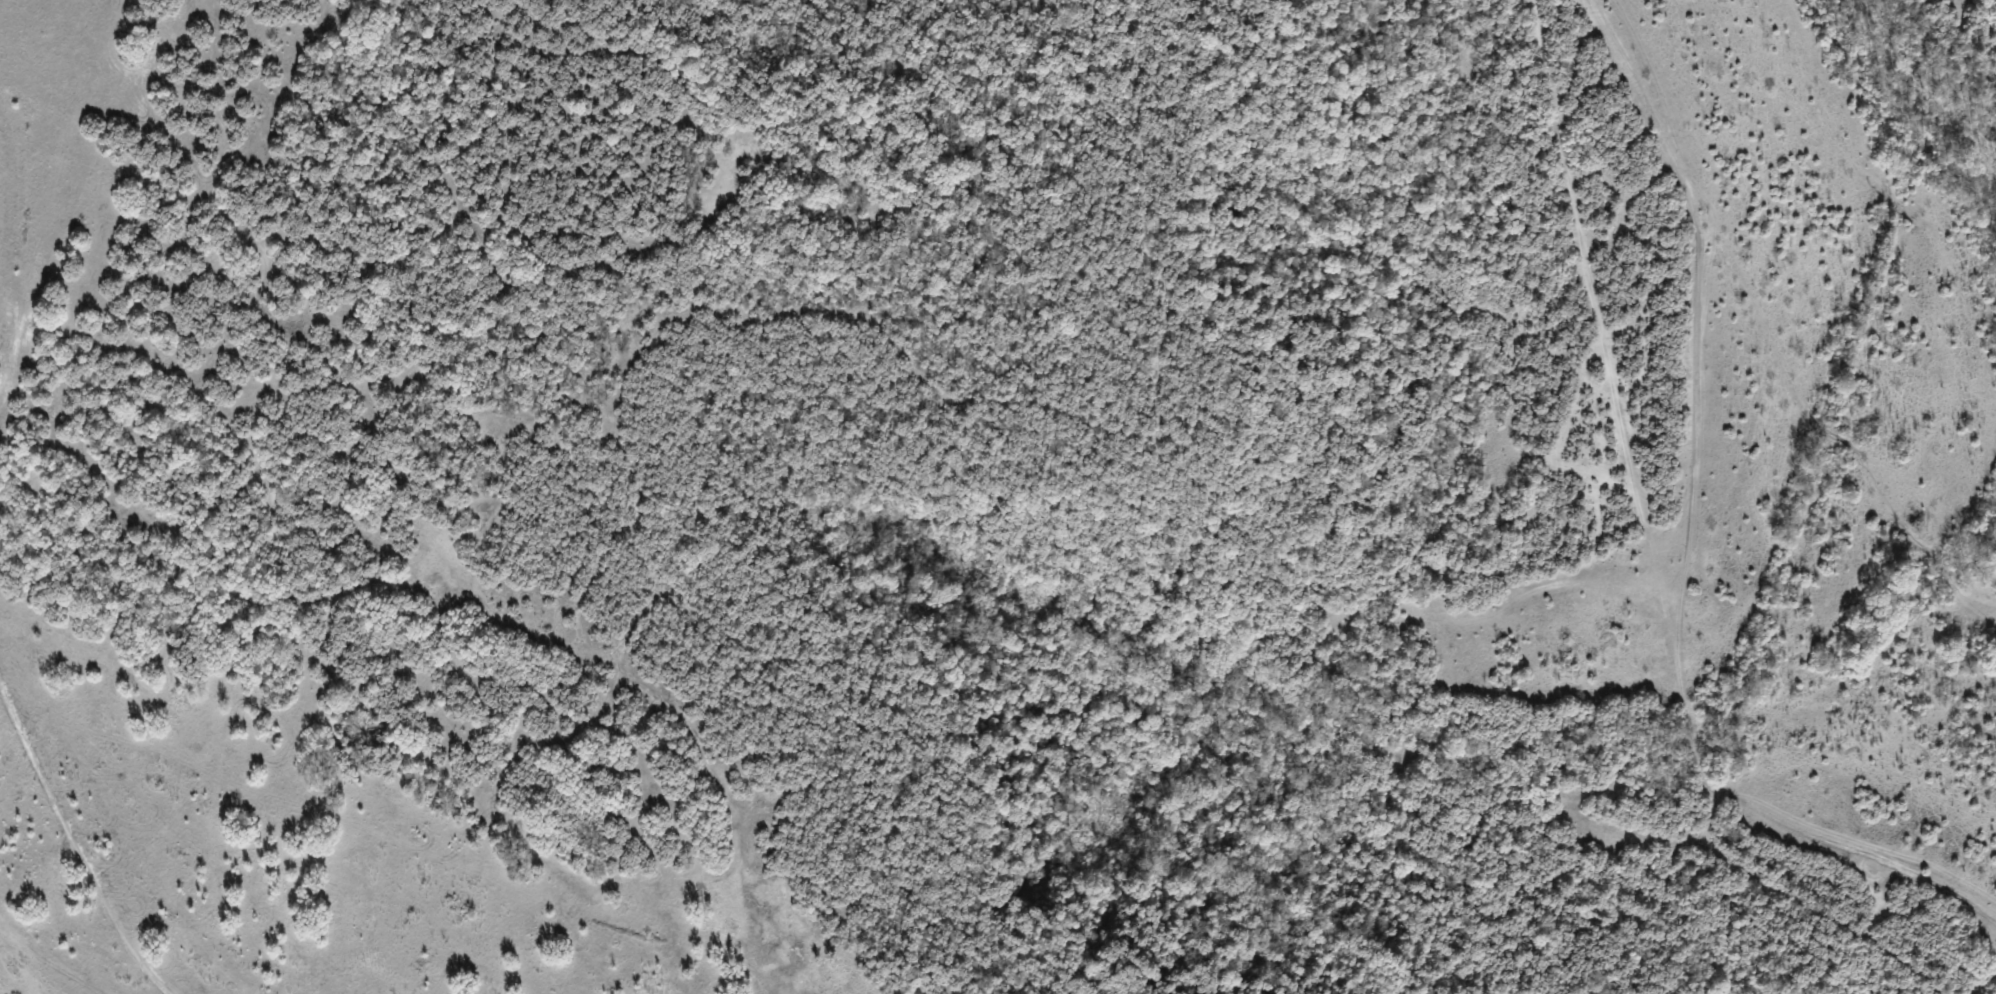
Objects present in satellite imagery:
road: (1670, 546)
road: (59, 805)

